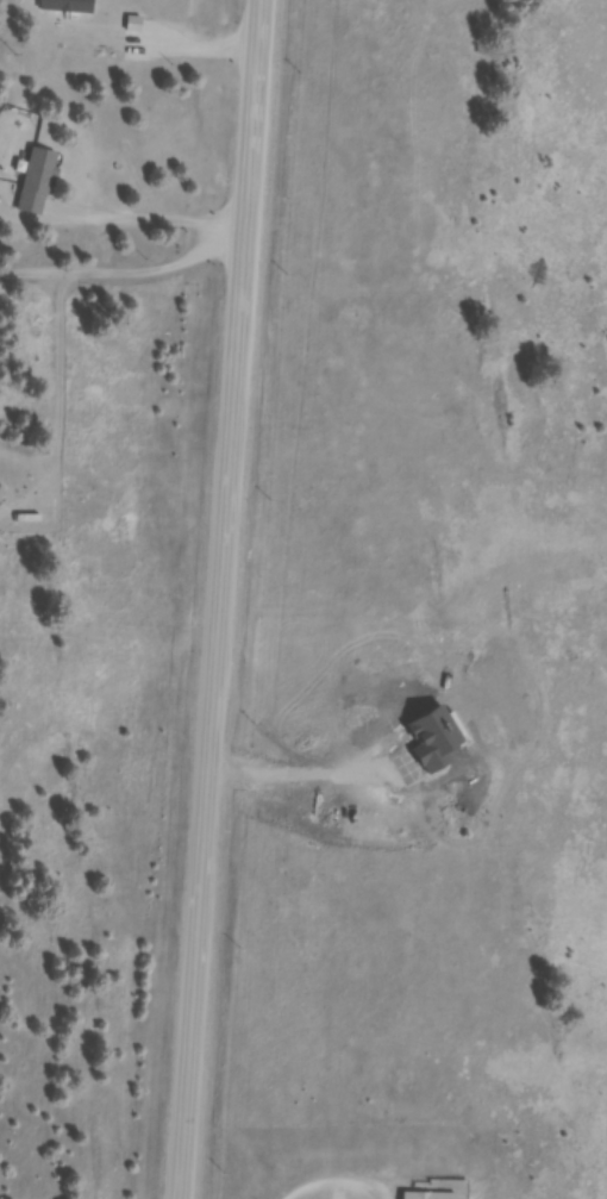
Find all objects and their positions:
building: (73, 7)
building: (43, 185)
road: (120, 263)
building: (30, 519)
road: (212, 599)
building: (425, 1197)

